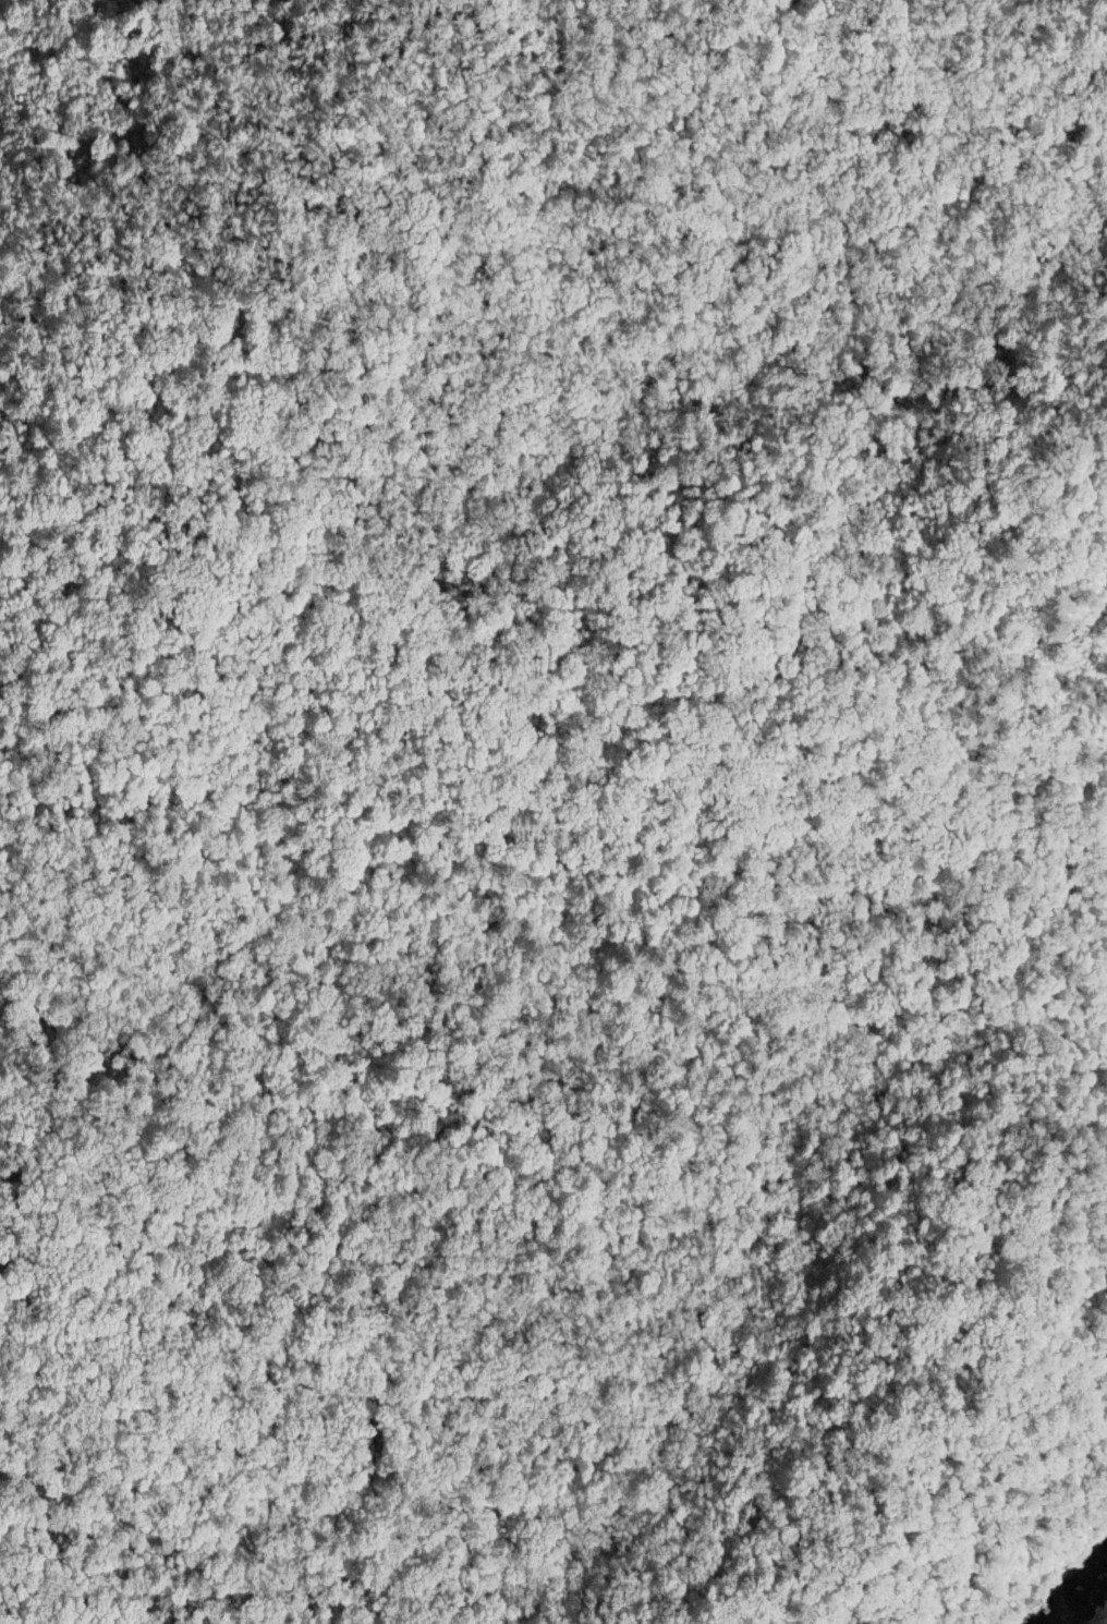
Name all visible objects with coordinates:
road: (82, 1362)
road: (75, 1565)
river: (1072, 1595)

